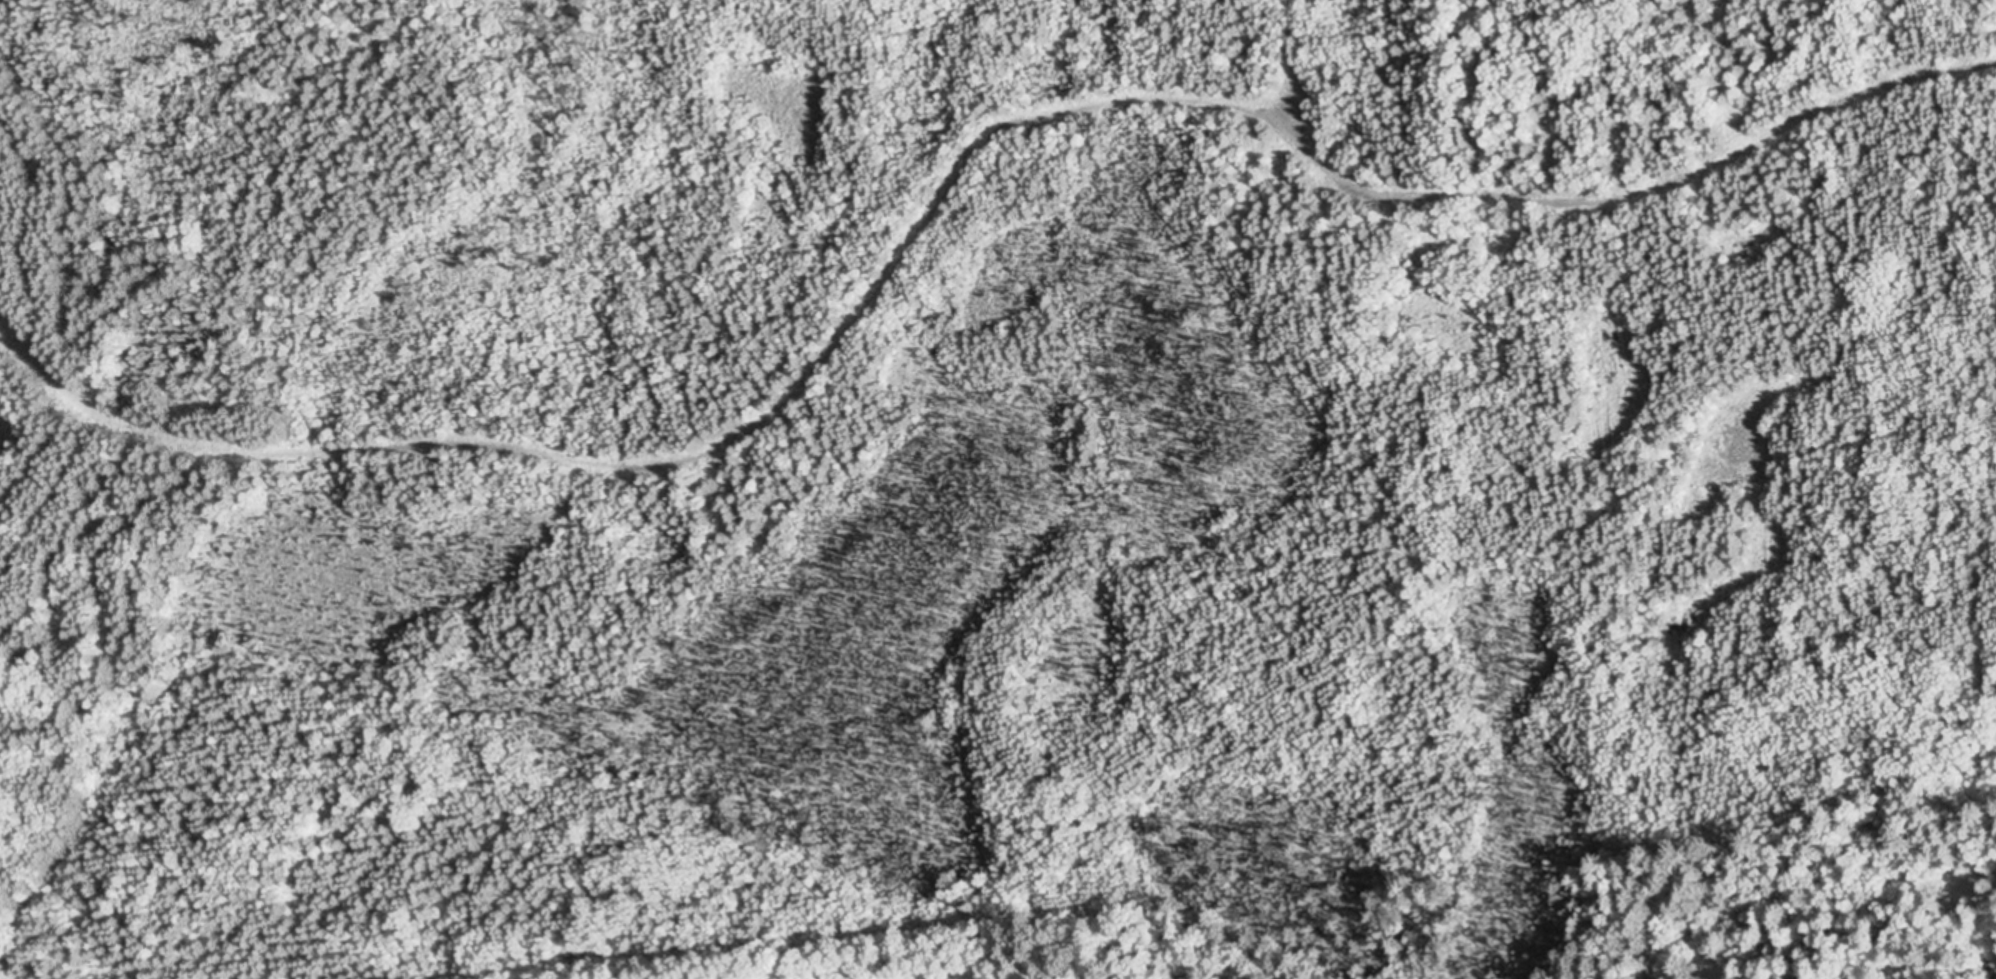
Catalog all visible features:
road: (1137, 125)
road: (114, 378)

